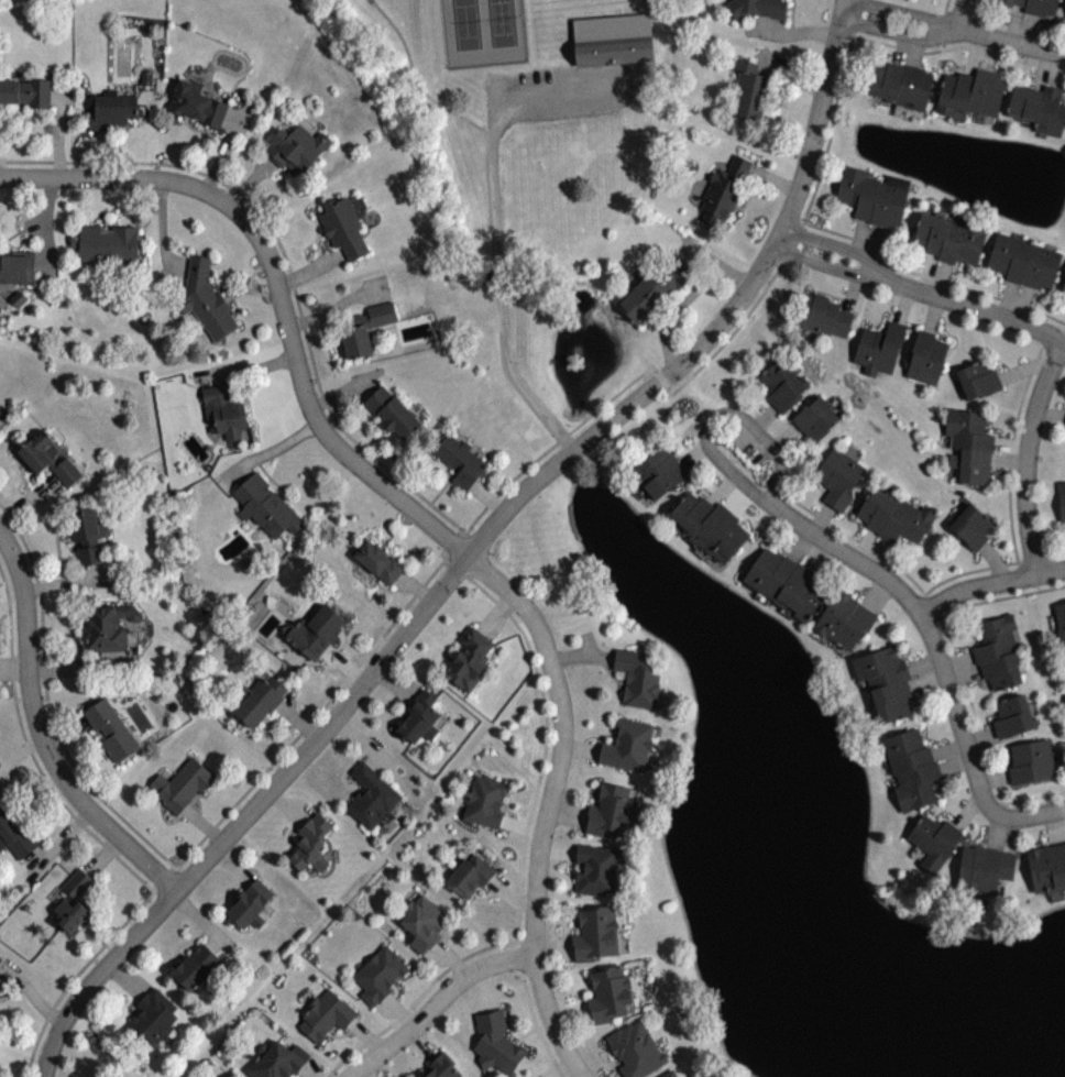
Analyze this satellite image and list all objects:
building: (1033, 6)
building: (757, 8)
road: (905, 11)
road: (943, 11)
road: (959, 14)
road: (898, 31)
park: (484, 34)
building: (615, 34)
road: (1010, 41)
road: (958, 46)
building: (617, 59)
road: (419, 78)
building: (900, 84)
building: (26, 91)
building: (751, 91)
building: (971, 92)
building: (197, 102)
building: (1039, 107)
building: (112, 110)
road: (832, 112)
building: (296, 147)
building: (725, 189)
building: (872, 195)
building: (345, 223)
road: (496, 234)
building: (951, 237)
building: (107, 244)
building: (1023, 261)
road: (288, 264)
building: (15, 267)
road: (930, 276)
building: (652, 284)
building: (1064, 288)
road: (920, 292)
road: (278, 294)
building: (206, 298)
building: (1064, 300)
building: (823, 316)
road: (745, 318)
building: (364, 327)
building: (879, 348)
building: (925, 356)
road: (245, 370)
road: (661, 378)
building: (978, 378)
building: (783, 382)
building: (224, 409)
building: (392, 411)
road: (720, 411)
building: (816, 418)
road: (568, 432)
building: (969, 444)
road: (267, 451)
road: (1026, 455)
building: (47, 458)
building: (461, 461)
building: (659, 471)
building: (838, 477)
building: (1062, 498)
building: (265, 506)
building: (894, 516)
road: (473, 520)
building: (971, 525)
building: (710, 526)
building: (88, 534)
road: (473, 549)
road: (446, 559)
building: (376, 560)
building: (788, 583)
road: (989, 583)
building: (844, 619)
building: (1061, 619)
building: (110, 627)
building: (314, 630)
building: (999, 651)
road: (935, 655)
building: (470, 659)
building: (638, 675)
building: (885, 682)
building: (260, 699)
building: (1013, 715)
road: (314, 716)
building: (420, 717)
building: (110, 728)
road: (46, 736)
building: (628, 745)
road: (545, 746)
road: (30, 751)
building: (1031, 761)
building: (912, 768)
building: (182, 784)
building: (371, 795)
building: (486, 801)
road: (549, 804)
building: (611, 809)
building: (15, 833)
building: (935, 839)
building: (311, 844)
building: (1047, 867)
building: (597, 869)
building: (984, 869)
building: (470, 876)
building: (73, 901)
building: (251, 903)
building: (424, 922)
building: (595, 932)
building: (195, 966)
road: (76, 974)
building: (380, 974)
building: (1, 981)
building: (2, 991)
building: (608, 993)
road: (418, 997)
road: (437, 1005)
building: (327, 1014)
building: (153, 1019)
building: (496, 1042)
building: (636, 1048)
building: (276, 1060)
building: (441, 1066)
building: (669, 1074)

